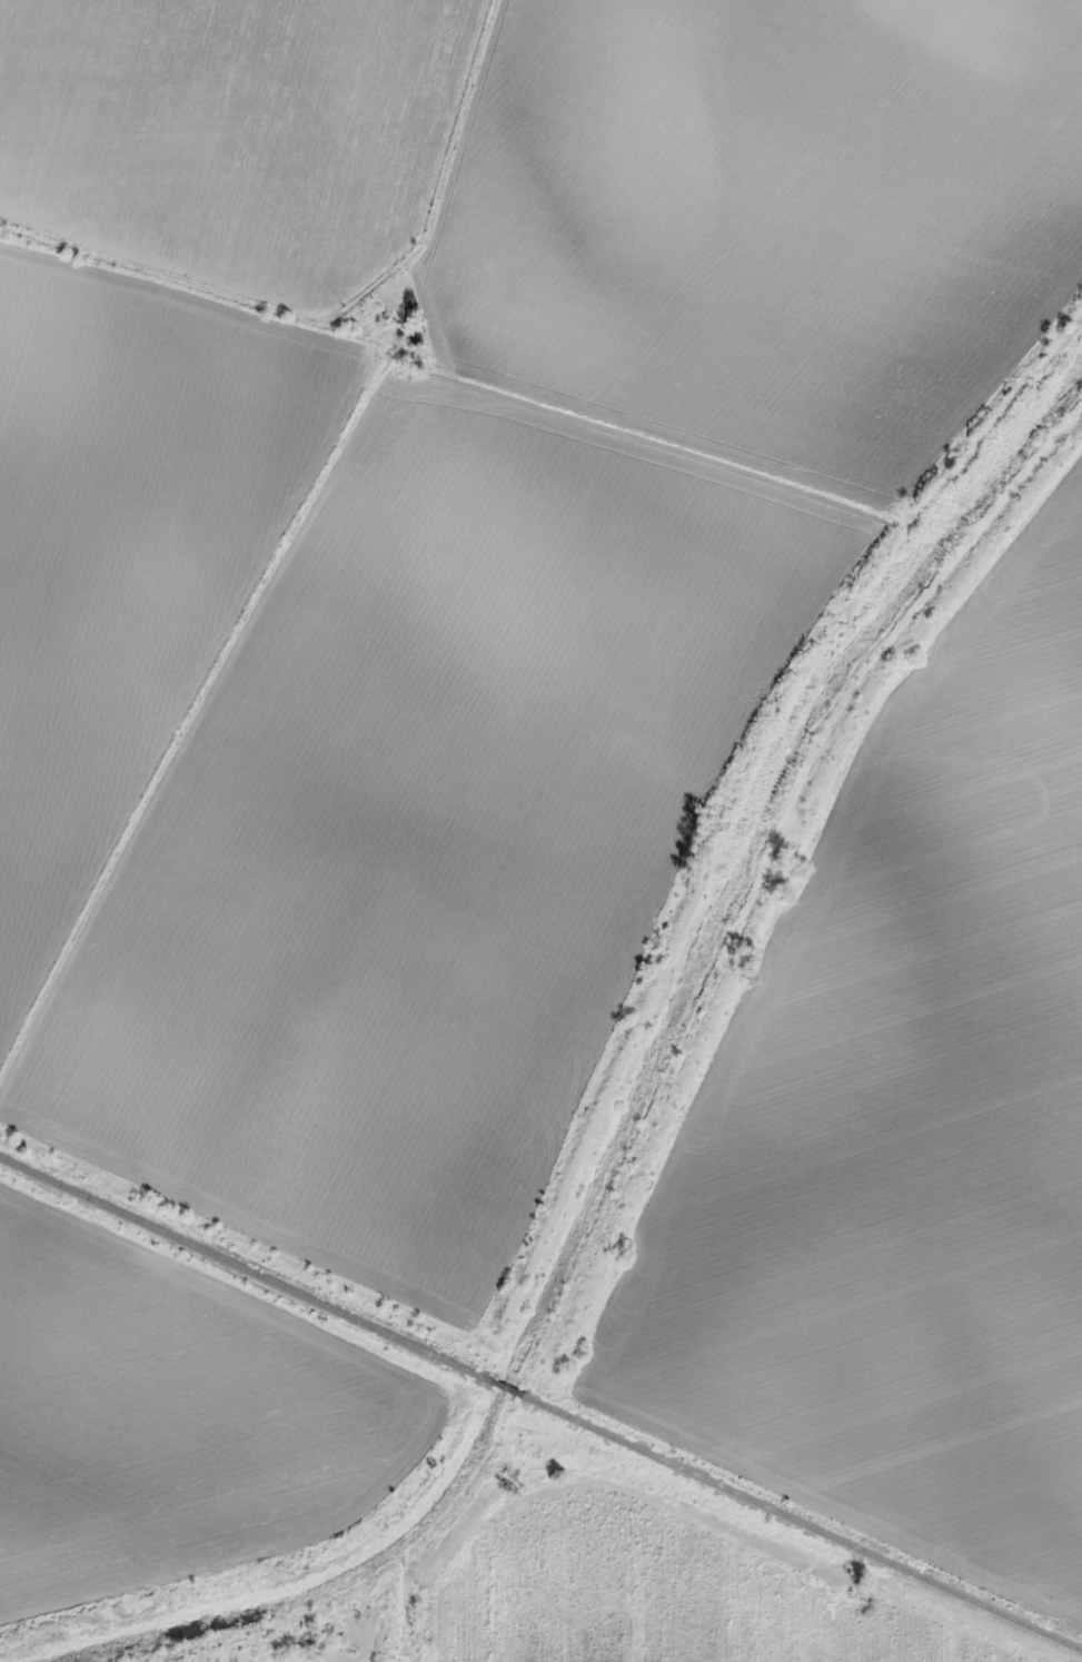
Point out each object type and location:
railway: (540, 1403)

